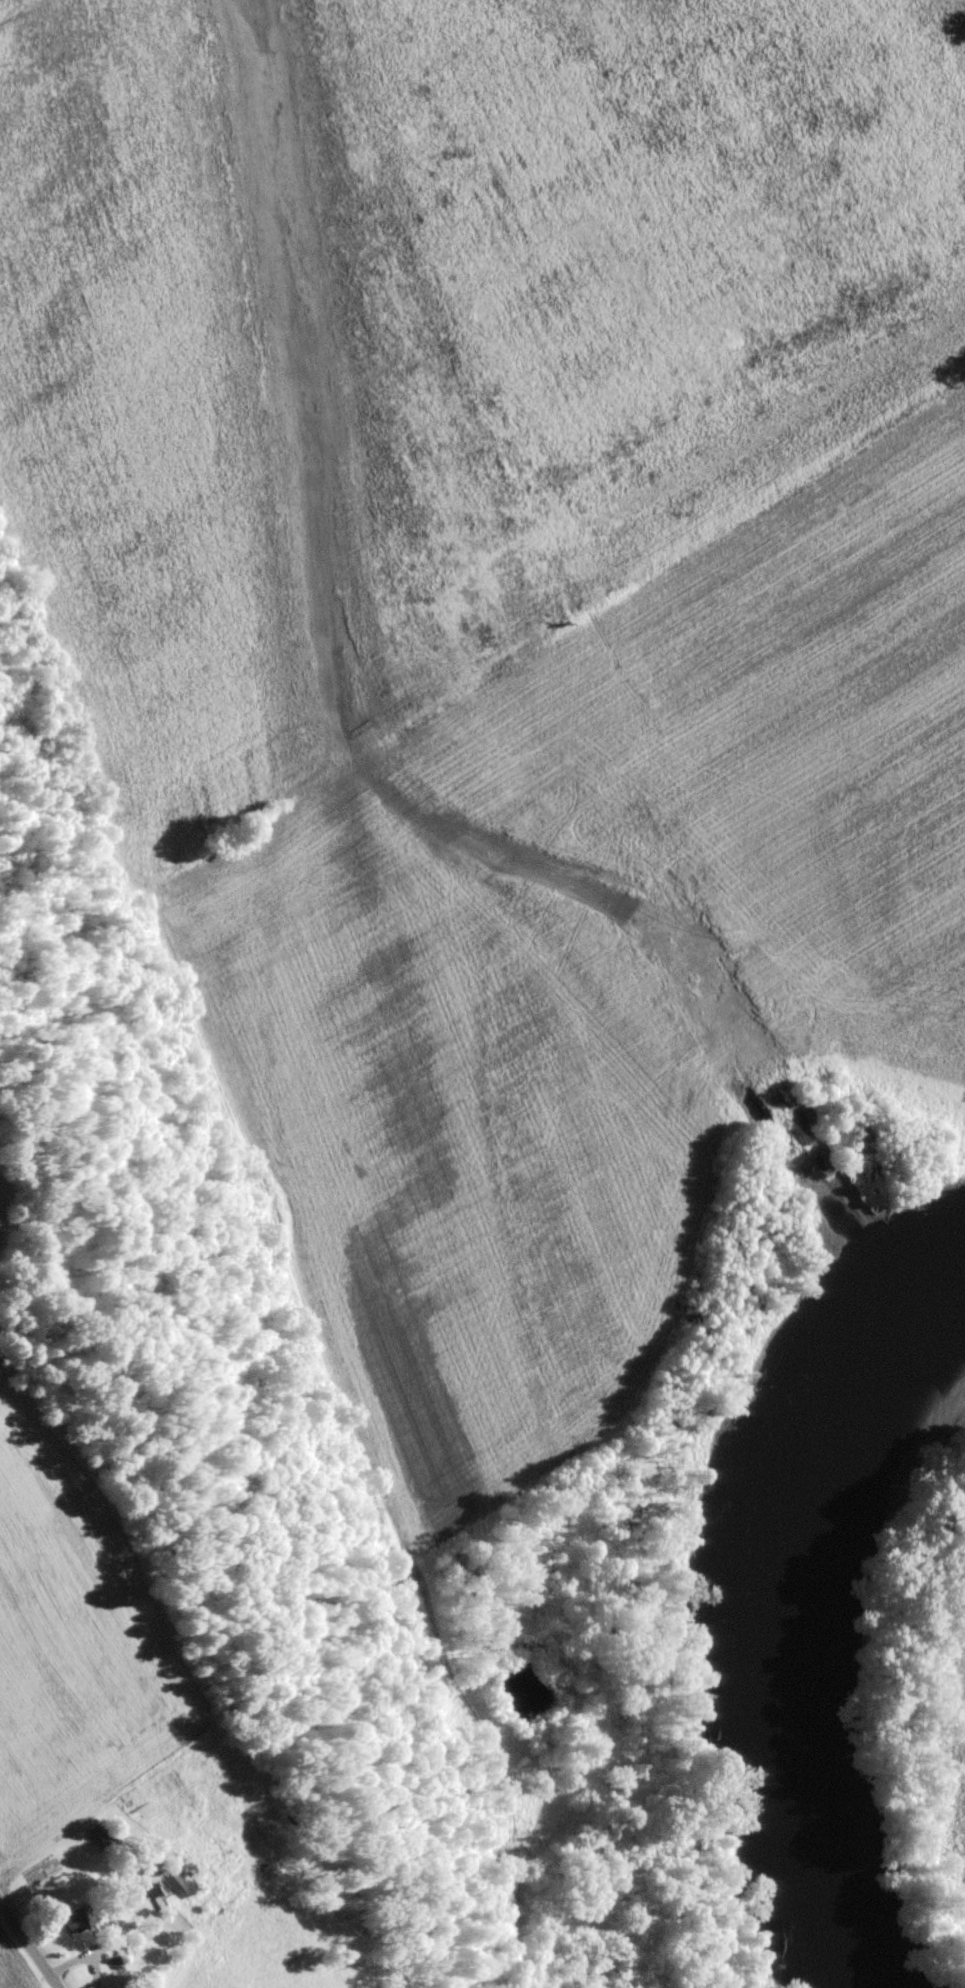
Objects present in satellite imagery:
road: (385, 436)
river: (796, 1635)
building: (100, 1836)
building: (170, 1889)
building: (79, 1916)
road: (44, 1919)

